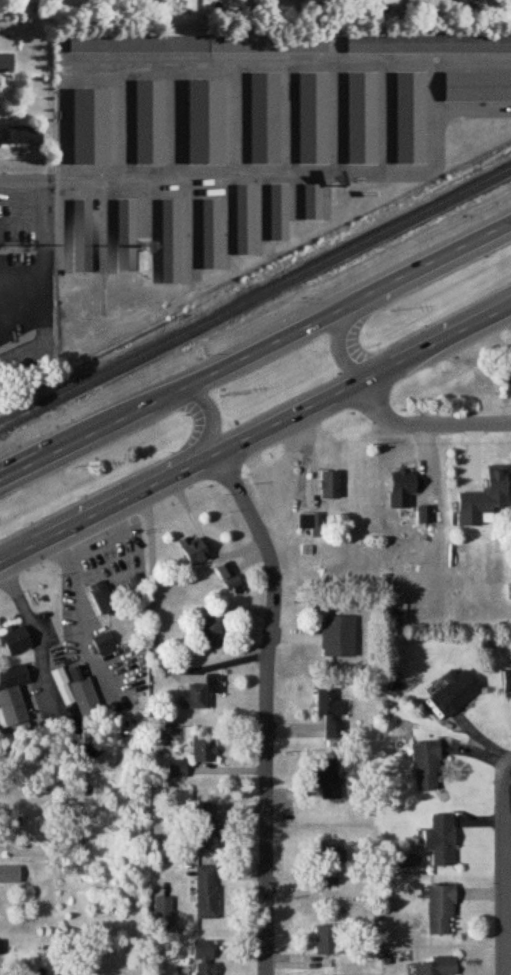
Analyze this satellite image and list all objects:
building: (196, 39)
building: (428, 39)
road: (432, 62)
road: (472, 62)
building: (6, 65)
building: (477, 83)
road: (473, 109)
building: (262, 114)
building: (314, 114)
building: (361, 114)
building: (410, 115)
building: (148, 116)
building: (205, 116)
road: (336, 118)
road: (386, 118)
road: (289, 119)
road: (234, 120)
road: (118, 121)
road: (175, 121)
building: (88, 122)
building: (25, 137)
road: (31, 179)
building: (313, 199)
parking lot: (27, 208)
building: (277, 208)
building: (244, 216)
building: (0, 230)
building: (82, 230)
building: (124, 230)
building: (211, 230)
building: (170, 235)
railway: (255, 296)
road: (339, 337)
road: (255, 351)
road: (425, 423)
road: (255, 432)
road: (203, 444)
building: (402, 483)
building: (329, 484)
building: (489, 494)
building: (310, 520)
building: (192, 550)
building: (230, 579)
building: (102, 599)
road: (85, 615)
road: (154, 630)
road: (37, 631)
building: (211, 632)
building: (338, 636)
building: (15, 640)
building: (104, 644)
building: (507, 683)
building: (455, 691)
building: (200, 693)
building: (12, 695)
building: (81, 699)
road: (267, 706)
building: (332, 715)
building: (203, 751)
building: (427, 767)
building: (177, 769)
building: (328, 780)
road: (507, 813)
building: (205, 826)
building: (440, 840)
building: (331, 863)
road: (504, 869)
building: (10, 875)
building: (207, 893)
building: (441, 911)
building: (327, 941)
building: (1, 948)
building: (203, 951)
building: (435, 967)
building: (207, 969)

